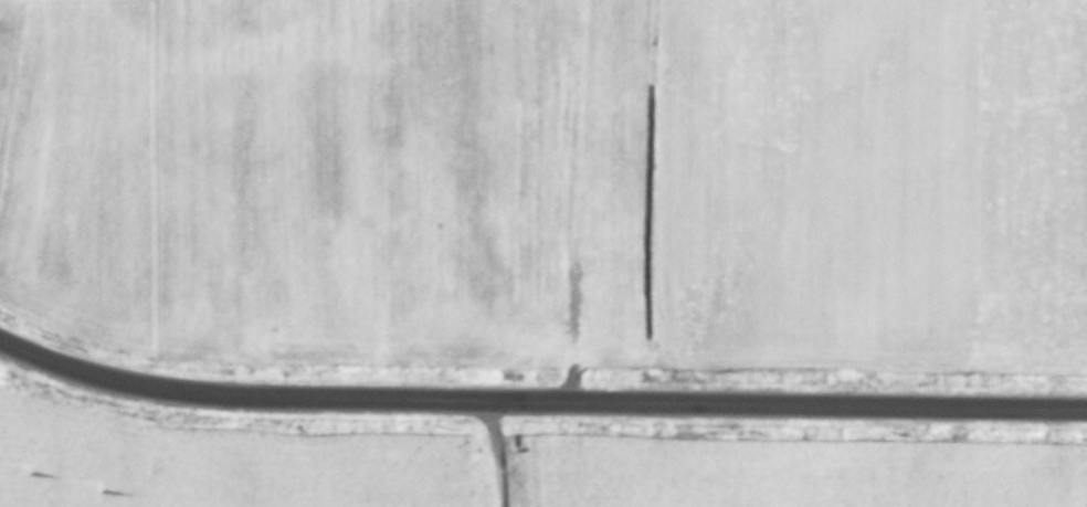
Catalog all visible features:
road: (539, 402)

